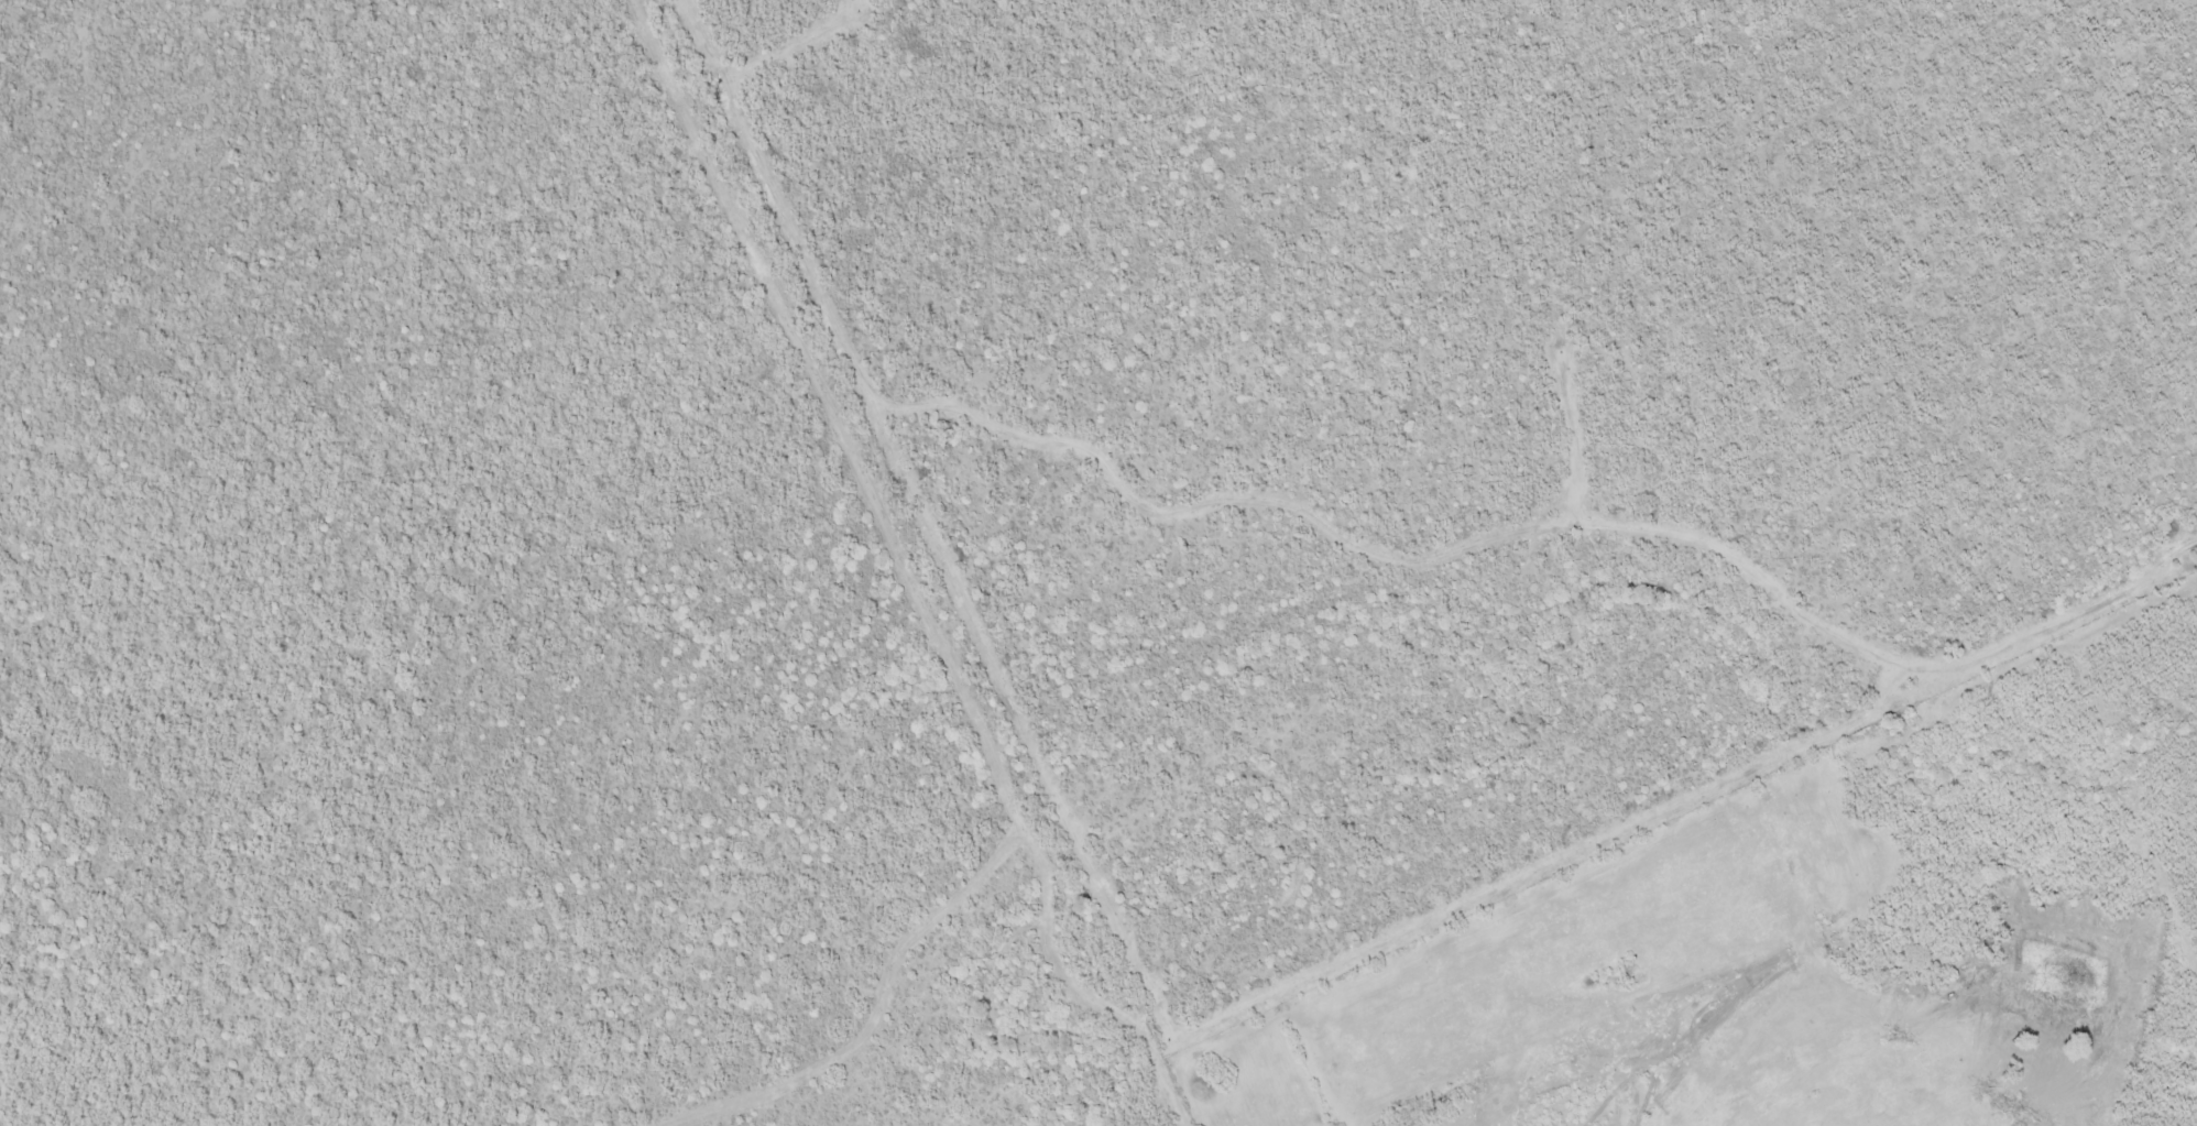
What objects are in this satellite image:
road: (918, 567)

